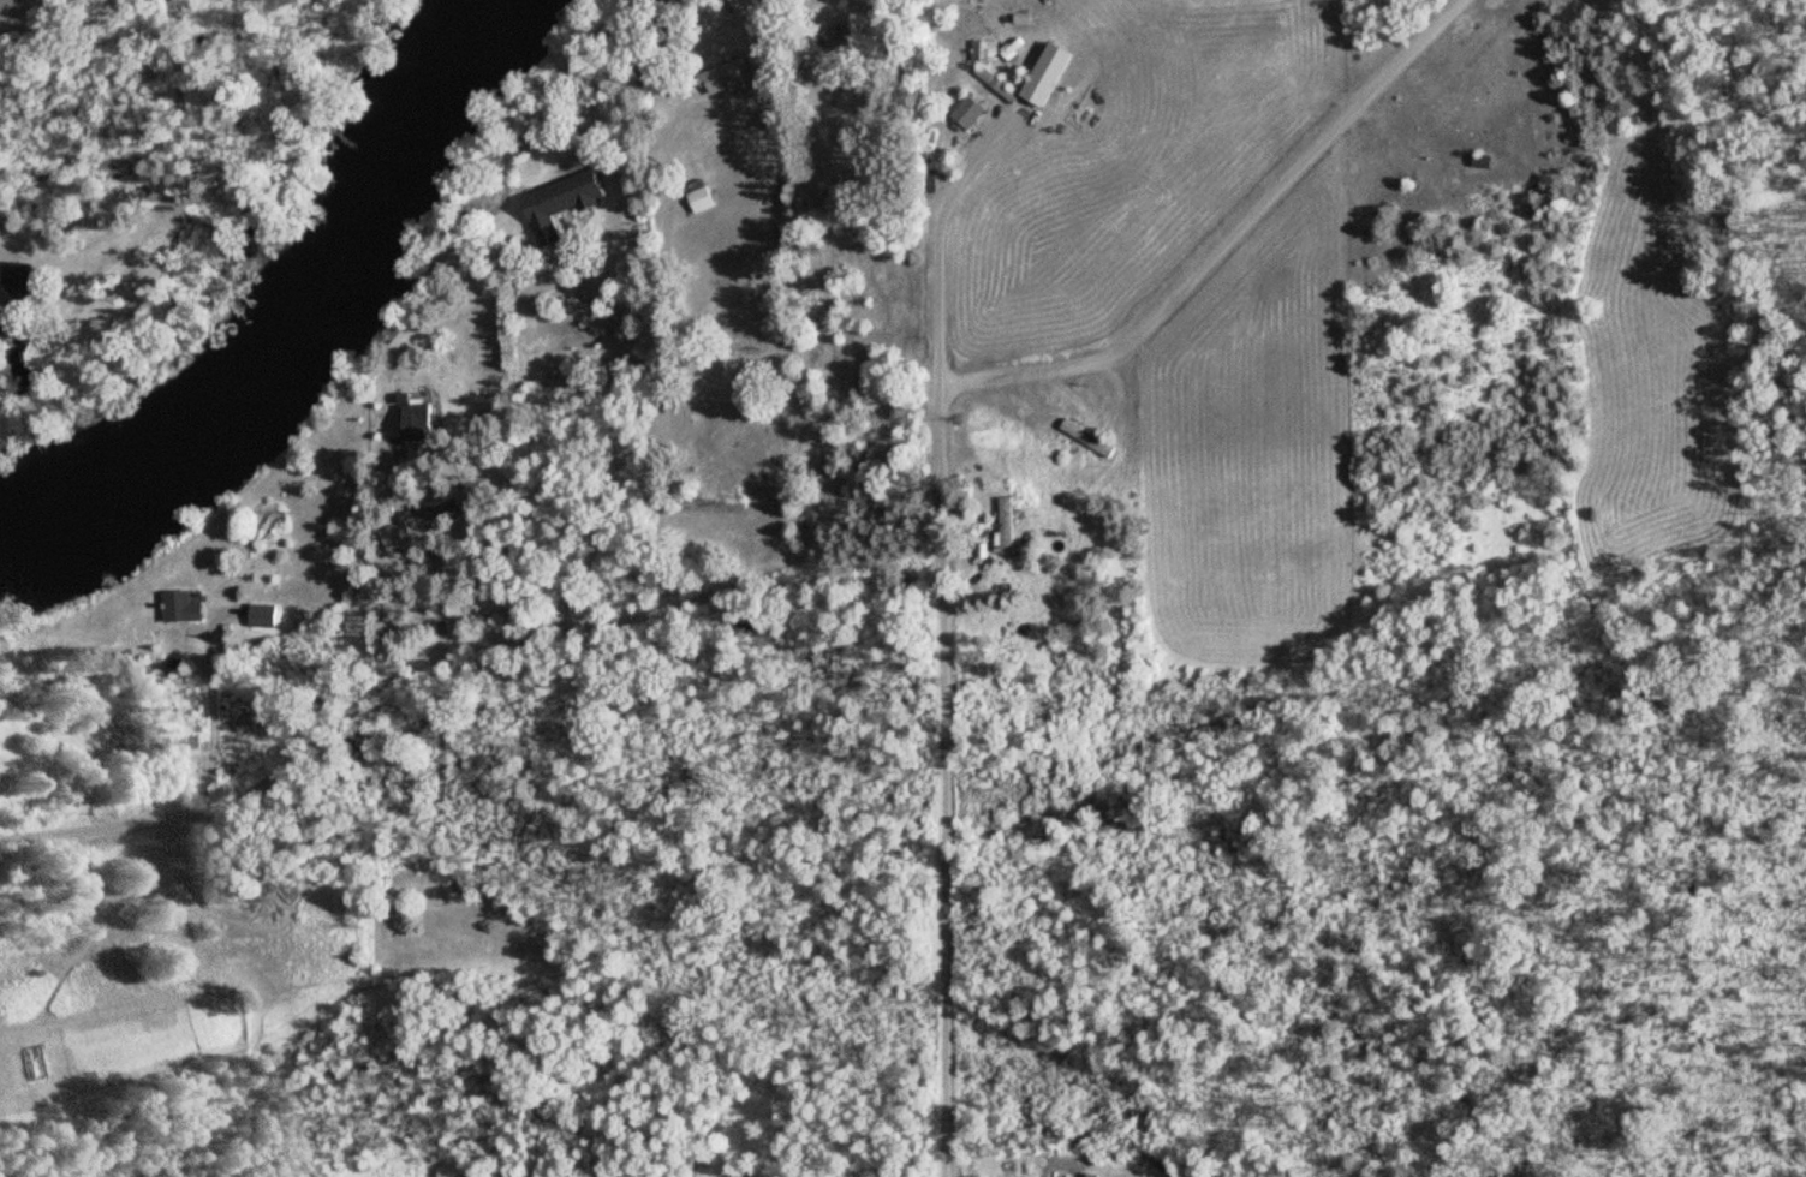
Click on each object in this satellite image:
building: (982, 5)
building: (835, 35)
building: (982, 49)
building: (725, 77)
building: (999, 84)
building: (970, 110)
building: (1483, 160)
building: (702, 199)
building: (562, 202)
road: (937, 251)
building: (18, 282)
river: (302, 325)
building: (418, 418)
building: (1085, 436)
road: (624, 441)
road: (941, 452)
building: (473, 497)
building: (1007, 525)
building: (184, 607)
building: (262, 615)
road: (344, 705)
building: (10, 761)
building: (1096, 1175)

